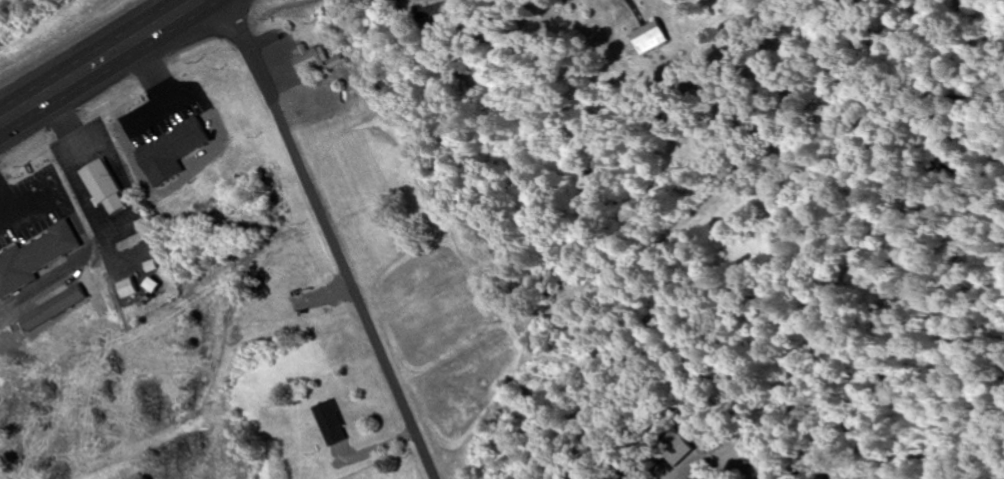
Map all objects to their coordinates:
building: (432, 13)
building: (651, 37)
road: (100, 61)
building: (317, 61)
building: (171, 152)
building: (105, 188)
road: (332, 238)
building: (35, 257)
building: (128, 288)
building: (55, 308)
building: (330, 423)

